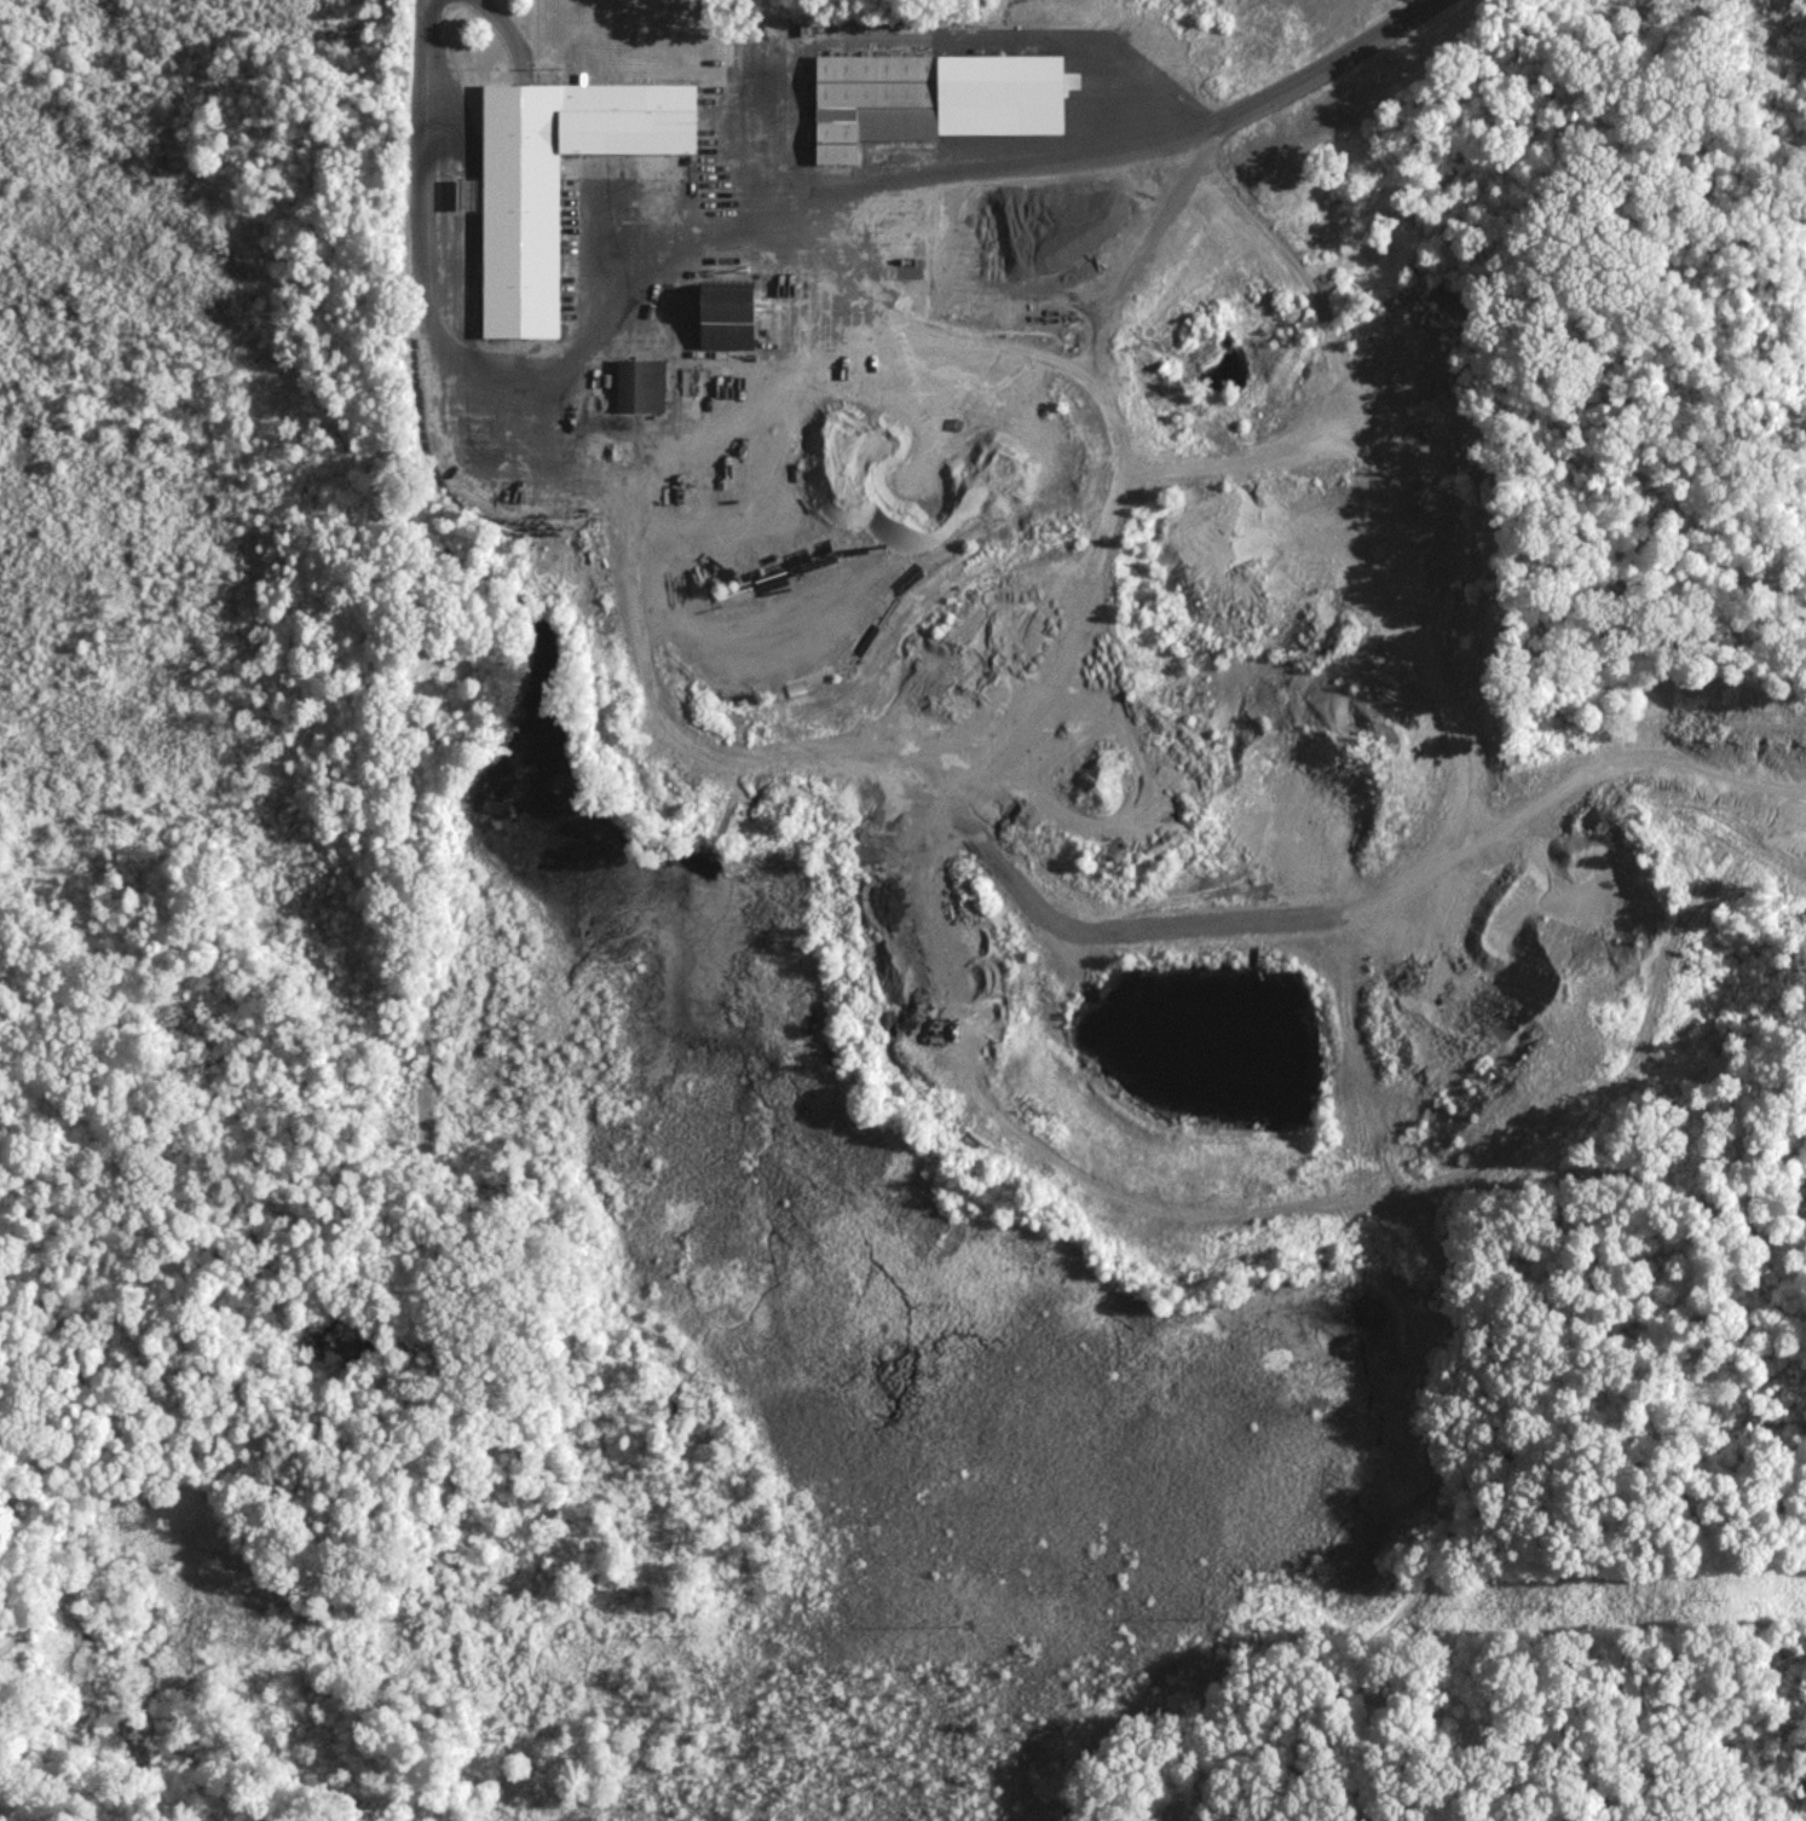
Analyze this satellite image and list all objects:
road: (502, 29)
building: (871, 100)
building: (554, 179)
road: (908, 187)
building: (728, 314)
building: (635, 383)
road: (567, 461)
road: (1118, 474)

